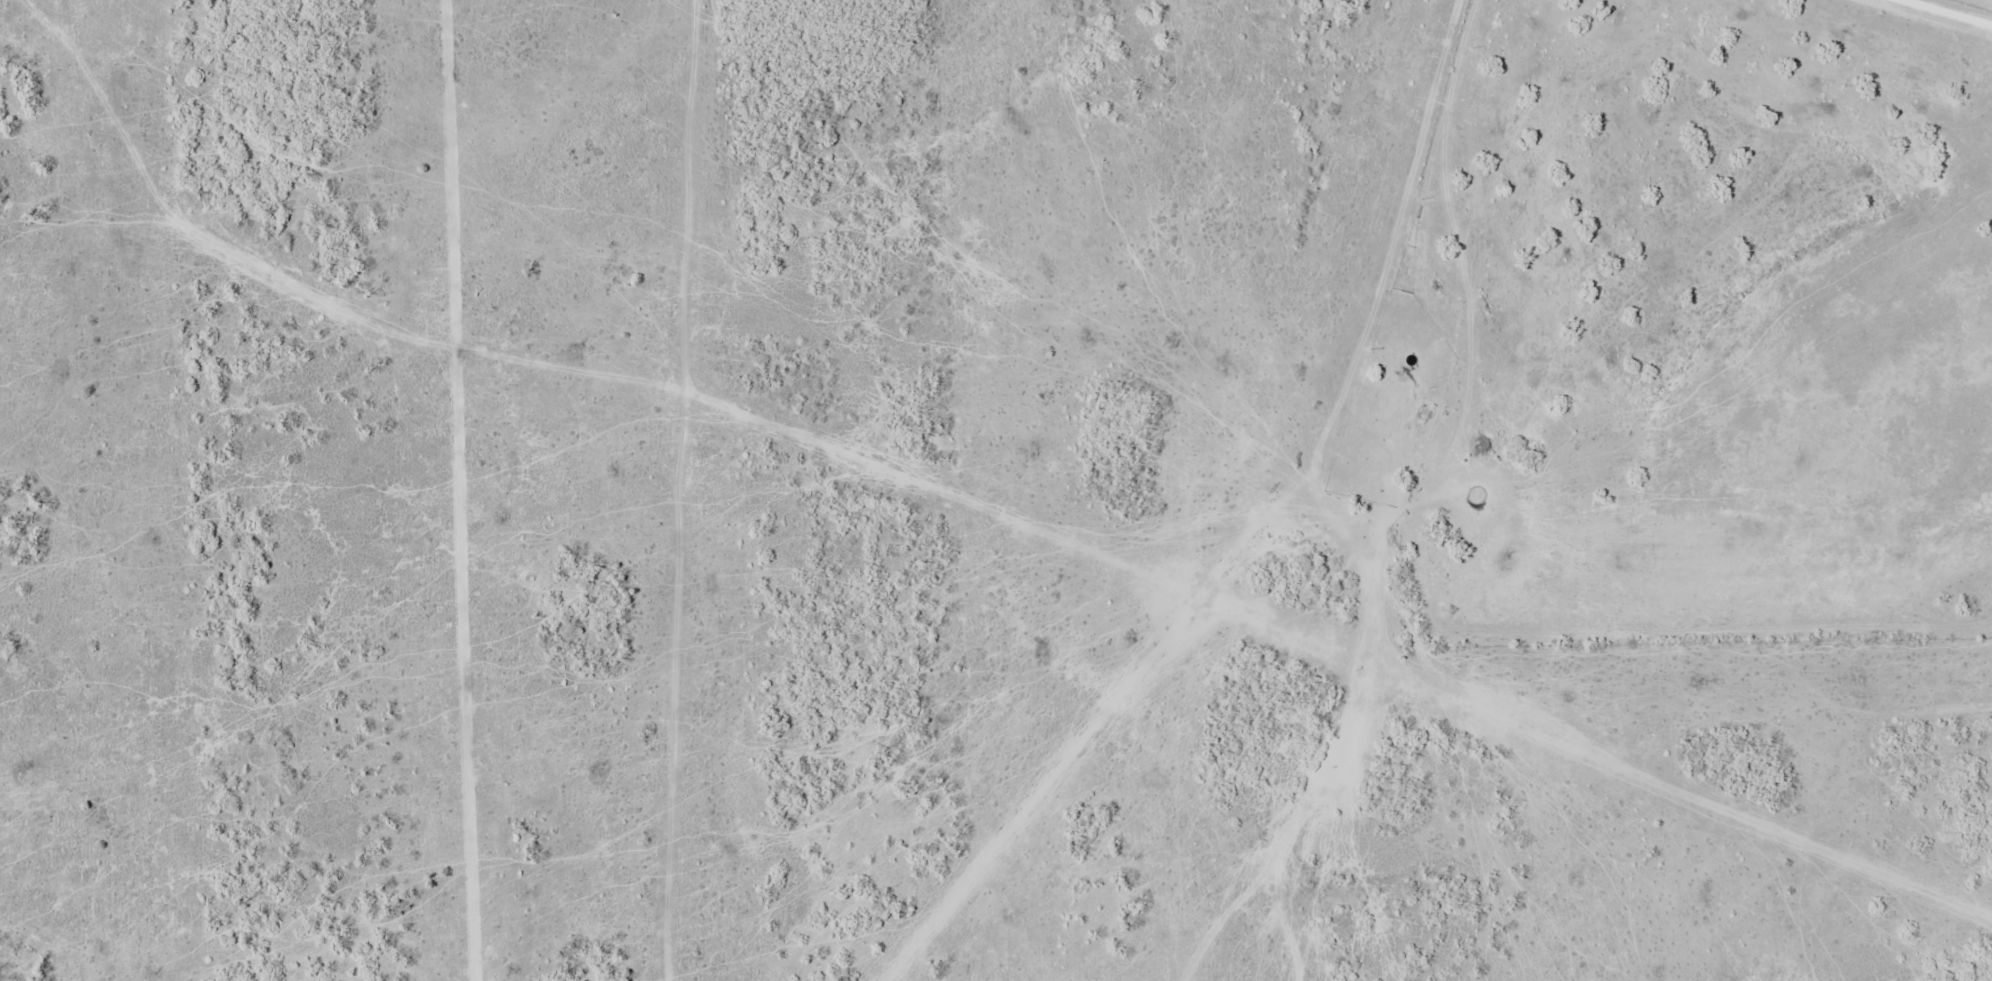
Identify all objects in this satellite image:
road: (1891, 28)

